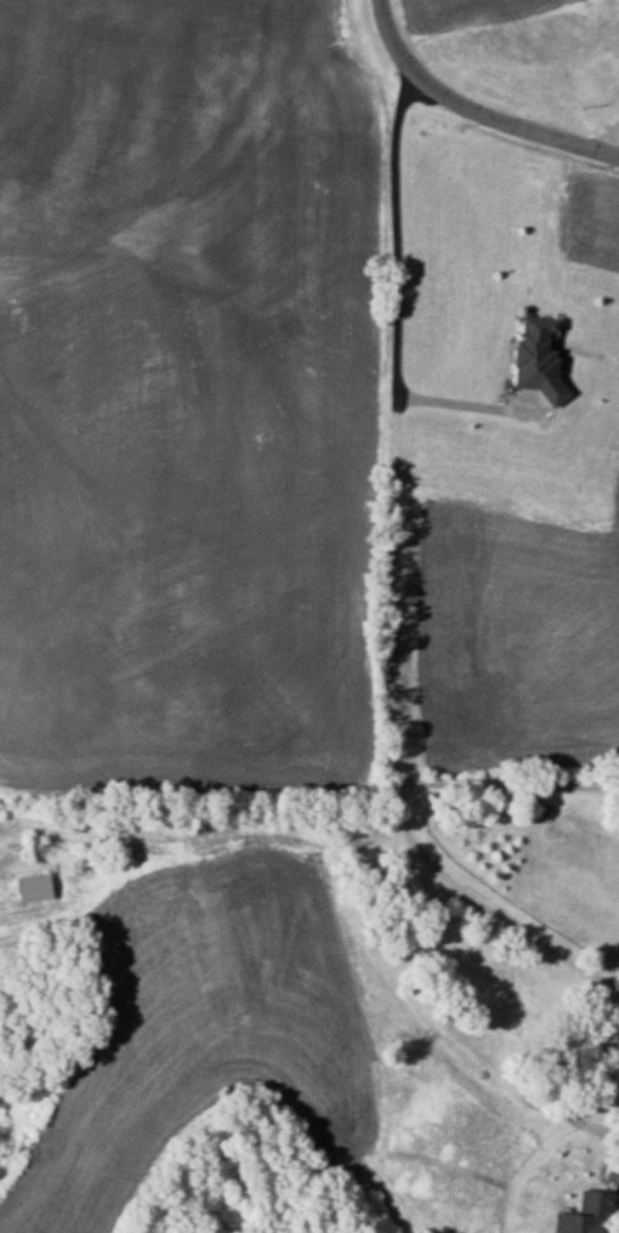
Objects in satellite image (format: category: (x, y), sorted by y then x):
road: (473, 114)
road: (607, 141)
building: (536, 358)
road: (464, 403)
road: (394, 586)
road: (506, 786)
building: (33, 886)
building: (583, 1214)

